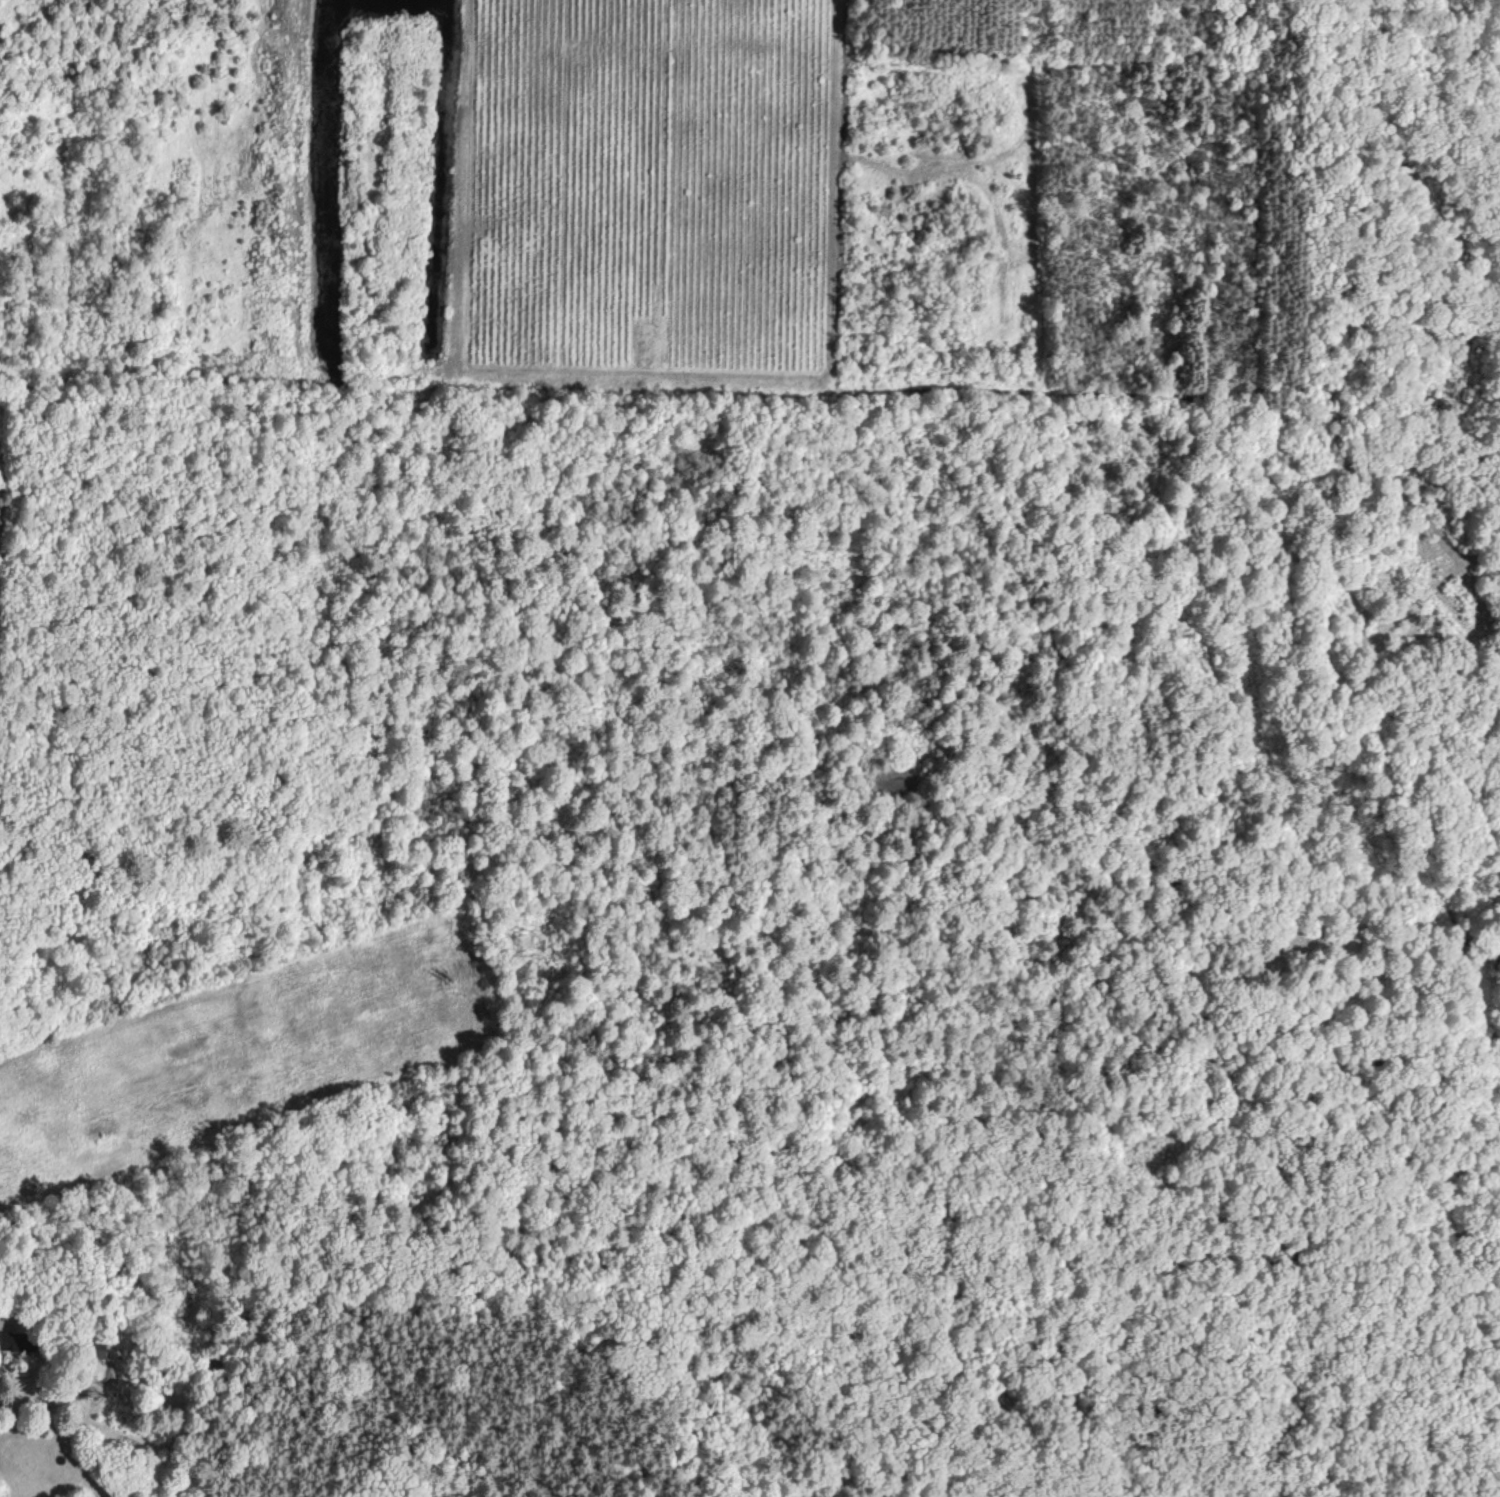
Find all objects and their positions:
road: (41, 1393)

